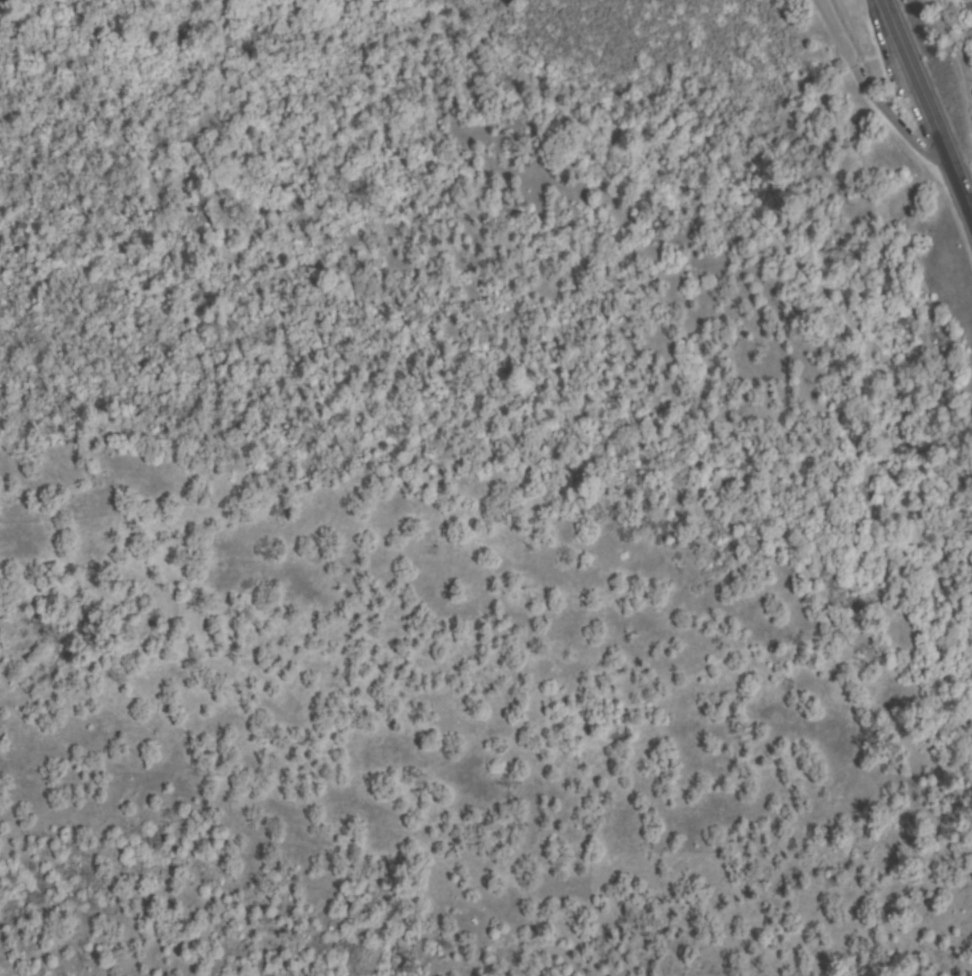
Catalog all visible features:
road: (871, 92)
road: (929, 108)
road: (772, 239)

